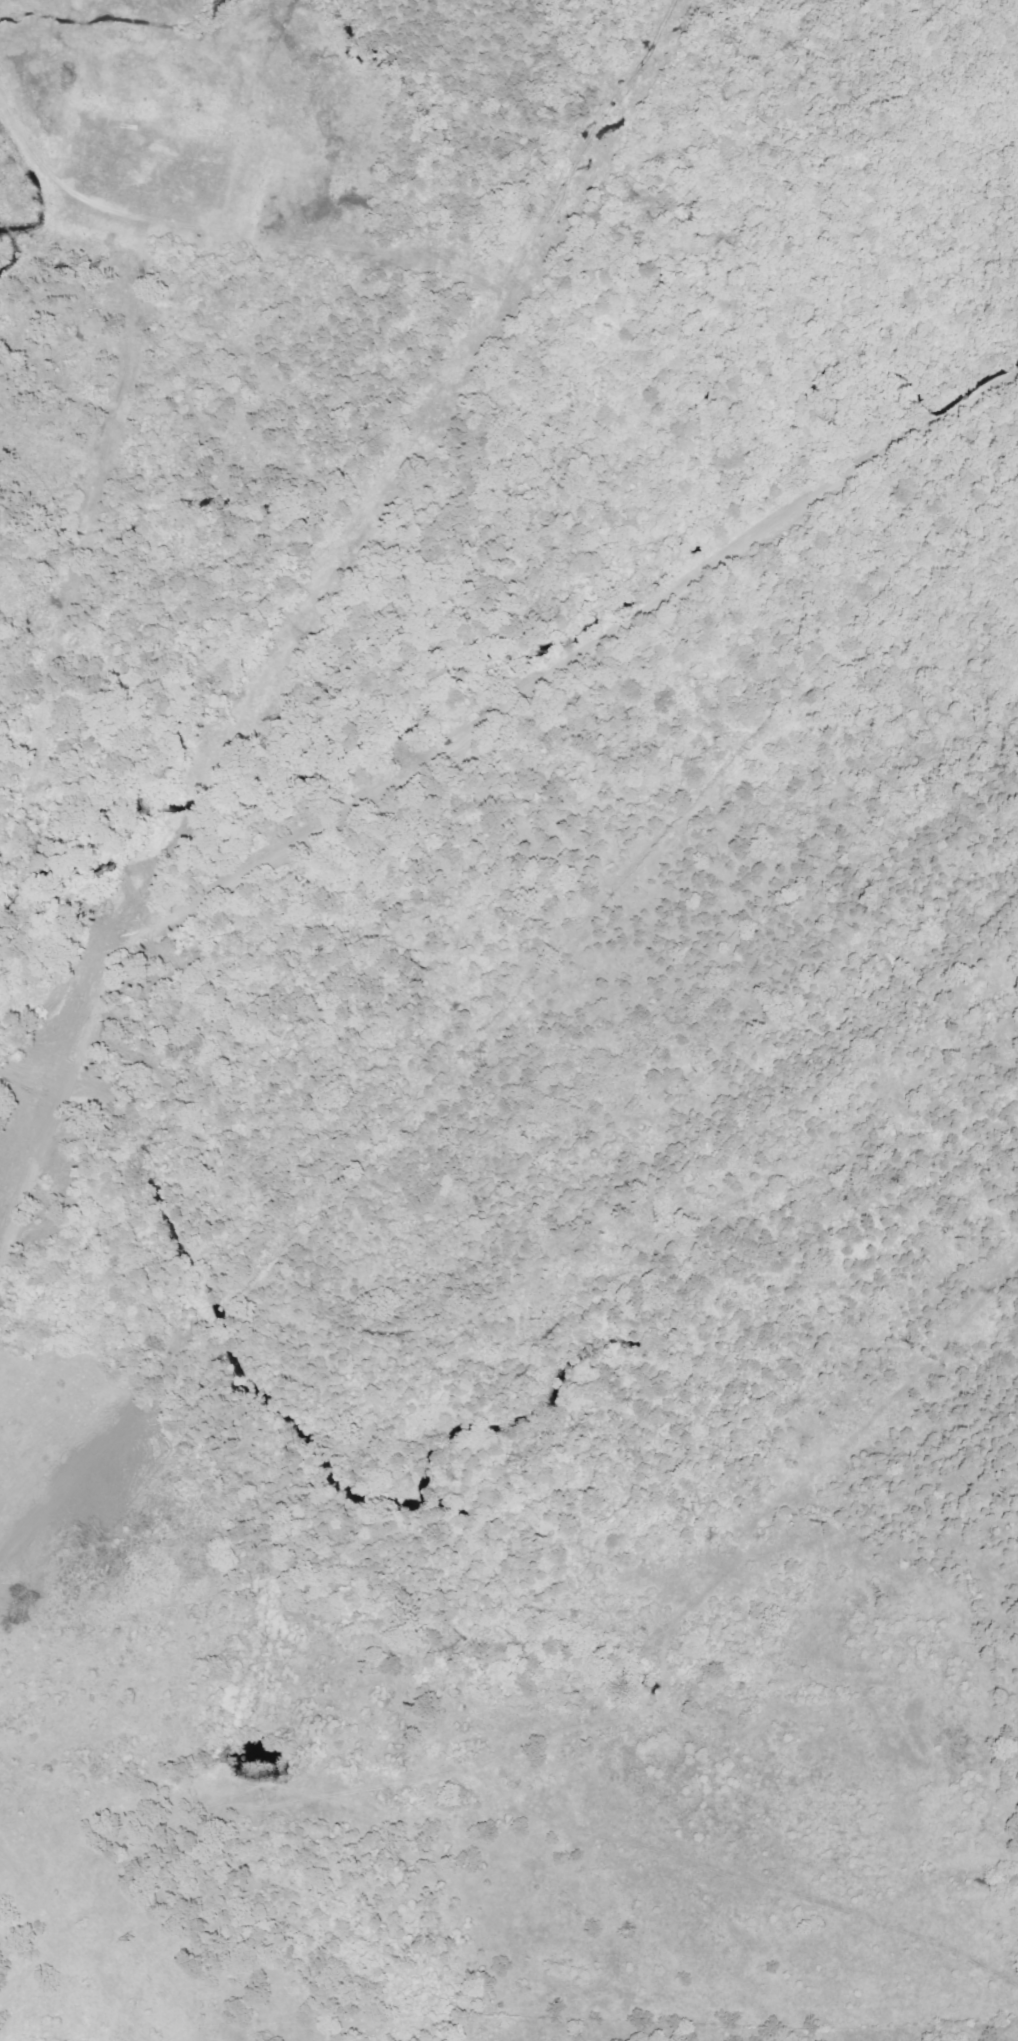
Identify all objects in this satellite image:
power tower: (130, 1941)

